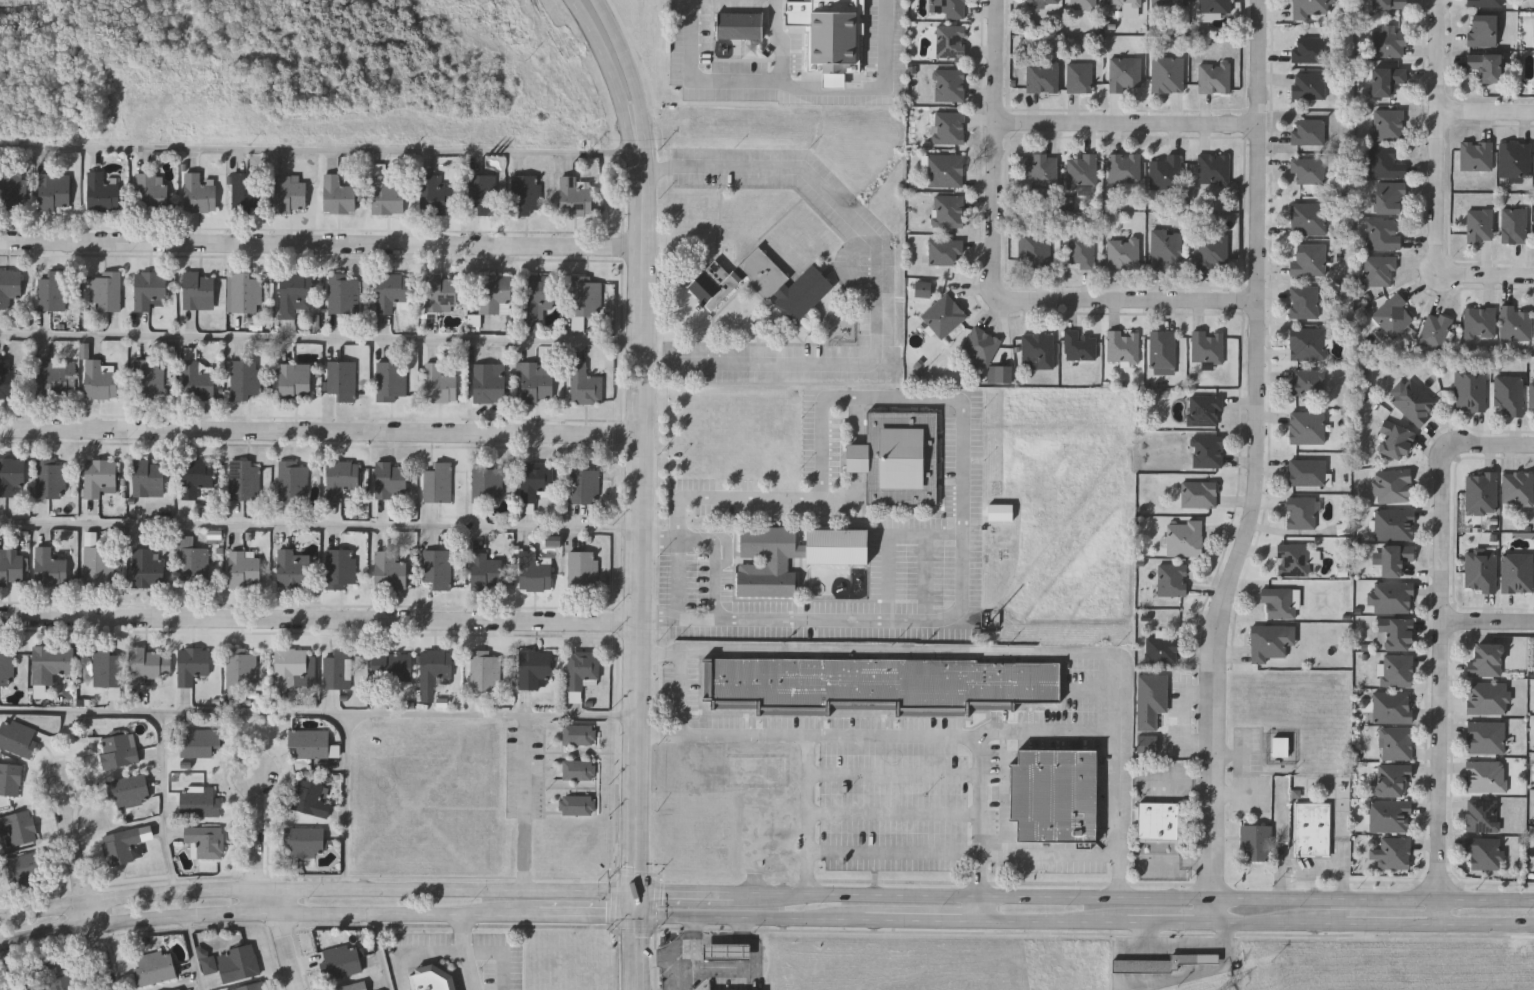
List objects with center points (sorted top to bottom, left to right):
building: (1042, 2)
building: (1125, 2)
building: (1166, 2)
building: (1484, 2)
building: (1388, 3)
building: (1083, 4)
building: (1212, 5)
building: (948, 7)
building: (1307, 8)
building: (739, 24)
building: (1481, 29)
building: (830, 35)
building: (950, 40)
building: (1388, 42)
building: (1307, 48)
road: (626, 62)
road: (606, 64)
building: (1485, 65)
building: (1124, 73)
building: (1166, 74)
building: (1041, 75)
building: (1078, 76)
building: (1212, 76)
building: (1385, 79)
road: (739, 80)
building: (949, 84)
building: (1307, 85)
road: (874, 89)
road: (1487, 114)
building: (1388, 123)
building: (948, 126)
building: (1307, 130)
road: (1128, 134)
road: (1440, 137)
road: (319, 150)
road: (1002, 151)
building: (1475, 154)
building: (1514, 158)
building: (1384, 160)
building: (1123, 166)
building: (1212, 168)
building: (944, 169)
building: (1041, 169)
building: (1081, 170)
building: (1307, 170)
building: (1164, 171)
building: (12, 189)
building: (245, 189)
building: (55, 190)
building: (104, 190)
building: (151, 191)
building: (200, 192)
building: (482, 192)
building: (291, 193)
building: (387, 193)
building: (434, 193)
building: (525, 193)
building: (338, 194)
building: (575, 196)
building: (1388, 196)
building: (948, 210)
building: (1308, 217)
building: (1479, 224)
building: (1513, 224)
building: (1383, 233)
road: (322, 244)
building: (1166, 247)
building: (1034, 248)
building: (1081, 249)
building: (944, 250)
building: (1212, 250)
building: (1123, 252)
building: (1308, 258)
building: (1378, 269)
road: (1487, 278)
road: (877, 281)
building: (764, 284)
building: (10, 285)
building: (923, 287)
building: (52, 289)
building: (150, 289)
building: (392, 289)
building: (105, 290)
building: (199, 290)
building: (244, 291)
building: (295, 292)
building: (442, 292)
building: (344, 293)
building: (494, 293)
building: (585, 295)
building: (537, 297)
building: (1303, 300)
road: (1129, 310)
building: (943, 315)
building: (1392, 315)
building: (1479, 322)
building: (1515, 322)
building: (1435, 329)
road: (322, 338)
building: (1306, 342)
building: (980, 345)
building: (1079, 345)
building: (1122, 345)
building: (1207, 346)
building: (1163, 347)
building: (1037, 349)
building: (1000, 375)
building: (55, 376)
building: (148, 377)
building: (196, 378)
building: (245, 378)
building: (10, 379)
building: (100, 379)
building: (341, 379)
building: (295, 380)
building: (391, 380)
building: (537, 380)
building: (1306, 381)
building: (490, 382)
building: (439, 383)
building: (585, 384)
building: (1470, 390)
building: (1530, 394)
building: (1508, 395)
building: (1413, 400)
building: (1205, 409)
building: (1306, 427)
road: (322, 432)
building: (1394, 440)
road: (1487, 444)
road: (966, 445)
building: (1207, 450)
building: (899, 457)
road: (1253, 463)
building: (1307, 471)
building: (11, 473)
building: (197, 475)
building: (100, 476)
building: (50, 477)
building: (149, 477)
building: (244, 479)
building: (343, 479)
building: (391, 479)
building: (535, 479)
building: (293, 480)
building: (438, 481)
building: (486, 482)
building: (584, 483)
building: (1393, 485)
building: (1517, 487)
building: (1481, 492)
building: (1199, 493)
building: (528, 509)
road: (643, 510)
building: (1302, 512)
building: (1001, 513)
building: (1394, 523)
road: (321, 526)
building: (1184, 537)
road: (888, 539)
building: (554, 541)
building: (794, 555)
road: (724, 558)
building: (1394, 558)
building: (1293, 559)
building: (194, 562)
building: (11, 565)
building: (99, 566)
building: (50, 567)
building: (147, 567)
building: (341, 567)
building: (437, 567)
building: (293, 568)
building: (245, 570)
building: (390, 570)
building: (487, 570)
building: (583, 570)
building: (1480, 571)
building: (534, 572)
building: (1517, 572)
road: (680, 577)
building: (1172, 579)
building: (1393, 596)
building: (1281, 602)
road: (321, 620)
road: (1487, 620)
building: (1396, 633)
building: (1270, 641)
building: (1162, 648)
road: (1000, 651)
building: (1485, 659)
building: (51, 662)
building: (193, 664)
building: (101, 665)
building: (149, 665)
building: (388, 665)
building: (6, 666)
building: (238, 667)
building: (295, 667)
building: (337, 669)
building: (535, 669)
building: (582, 669)
building: (1397, 669)
building: (485, 670)
building: (433, 671)
building: (878, 685)
road: (1439, 688)
building: (1487, 697)
building: (1392, 706)
building: (1150, 709)
road: (404, 713)
road: (166, 719)
road: (1050, 731)
building: (579, 733)
road: (806, 734)
road: (977, 735)
building: (1486, 736)
building: (18, 737)
building: (199, 741)
building: (310, 742)
building: (1396, 742)
building: (1279, 746)
building: (118, 750)
building: (579, 768)
building: (1485, 775)
building: (10, 778)
building: (1391, 778)
road: (1176, 781)
building: (128, 790)
building: (1055, 795)
building: (310, 797)
building: (199, 800)
road: (346, 800)
road: (531, 802)
building: (577, 804)
building: (1390, 815)
building: (1483, 815)
building: (1158, 821)
building: (19, 826)
building: (1313, 828)
road: (260, 830)
building: (205, 840)
building: (304, 841)
building: (1257, 843)
building: (120, 845)
building: (1484, 851)
building: (1395, 852)
road: (1050, 856)
road: (1175, 861)
building: (26, 868)
road: (638, 873)
road: (88, 886)
road: (317, 887)
traffic signals: (638, 892)
road: (686, 892)
road: (1134, 897)
road: (615, 900)
road: (658, 903)
road: (985, 907)
road: (345, 913)
traffic signals: (638, 915)
road: (779, 916)
road: (925, 917)
road: (1056, 918)
road: (1167, 919)
road: (1278, 920)
road: (1393, 921)
road: (1486, 922)
road: (693, 929)
road: (635, 930)
road: (284, 936)
road: (701, 939)
road: (638, 941)
road: (1184, 948)
road: (382, 952)
road: (468, 952)
building: (728, 952)
road: (194, 954)
road: (416, 956)
building: (208, 961)
building: (341, 961)
road: (661, 961)
building: (238, 963)
building: (1162, 963)
building: (155, 966)
road: (10, 968)
building: (49, 977)
building: (432, 978)
building: (248, 986)
building: (351, 986)
building: (176, 989)

